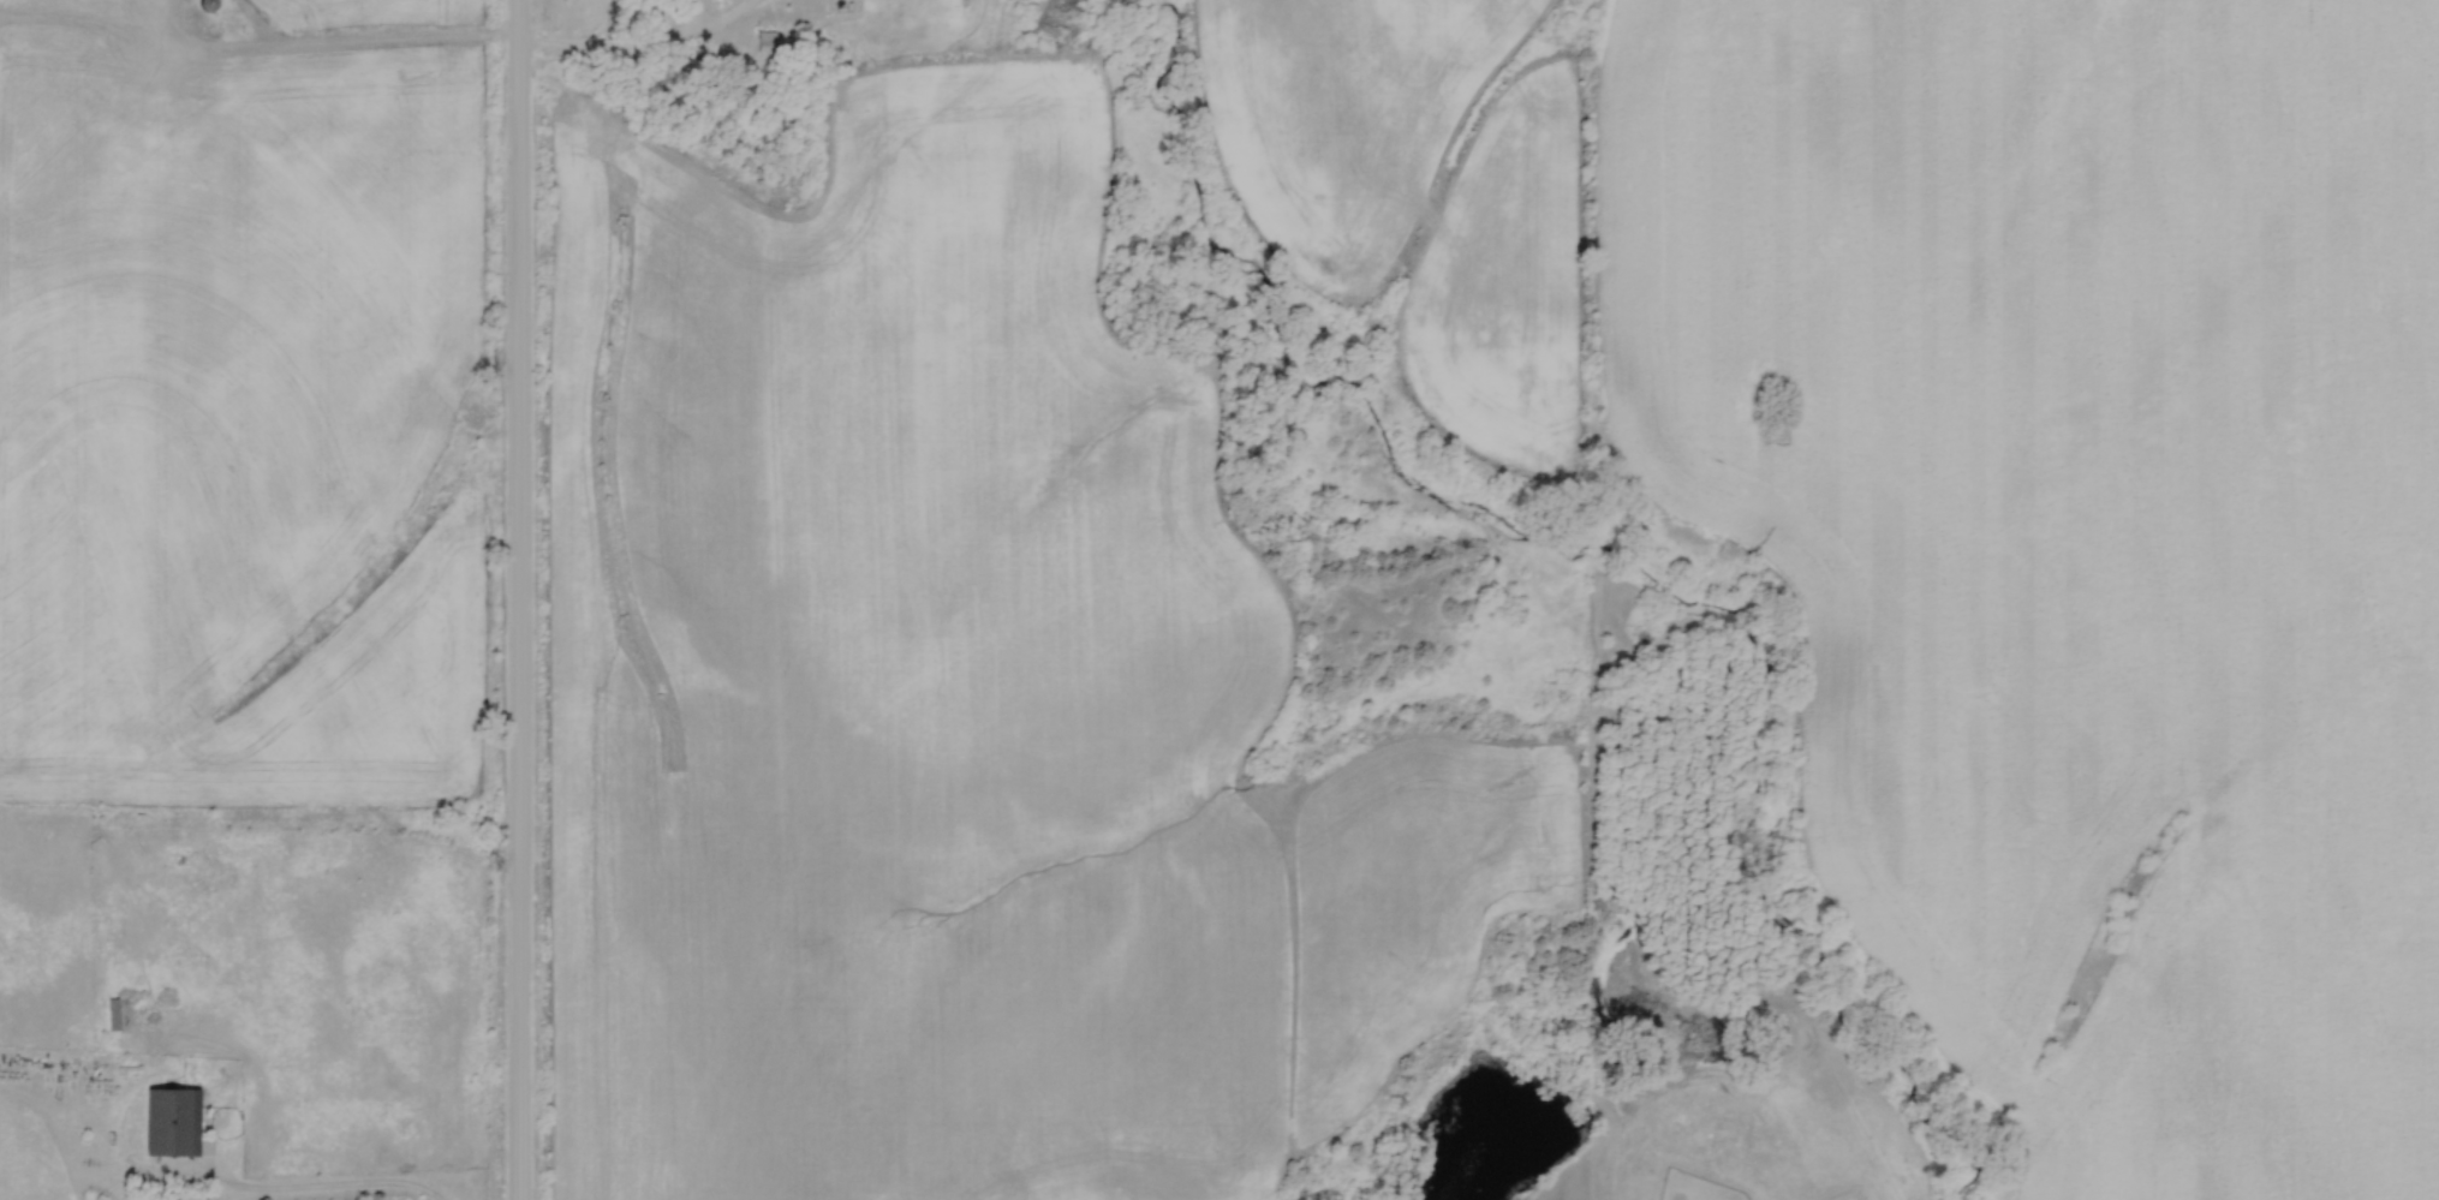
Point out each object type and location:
building: (205, 5)
road: (620, 43)
road: (518, 599)
building: (169, 1126)

